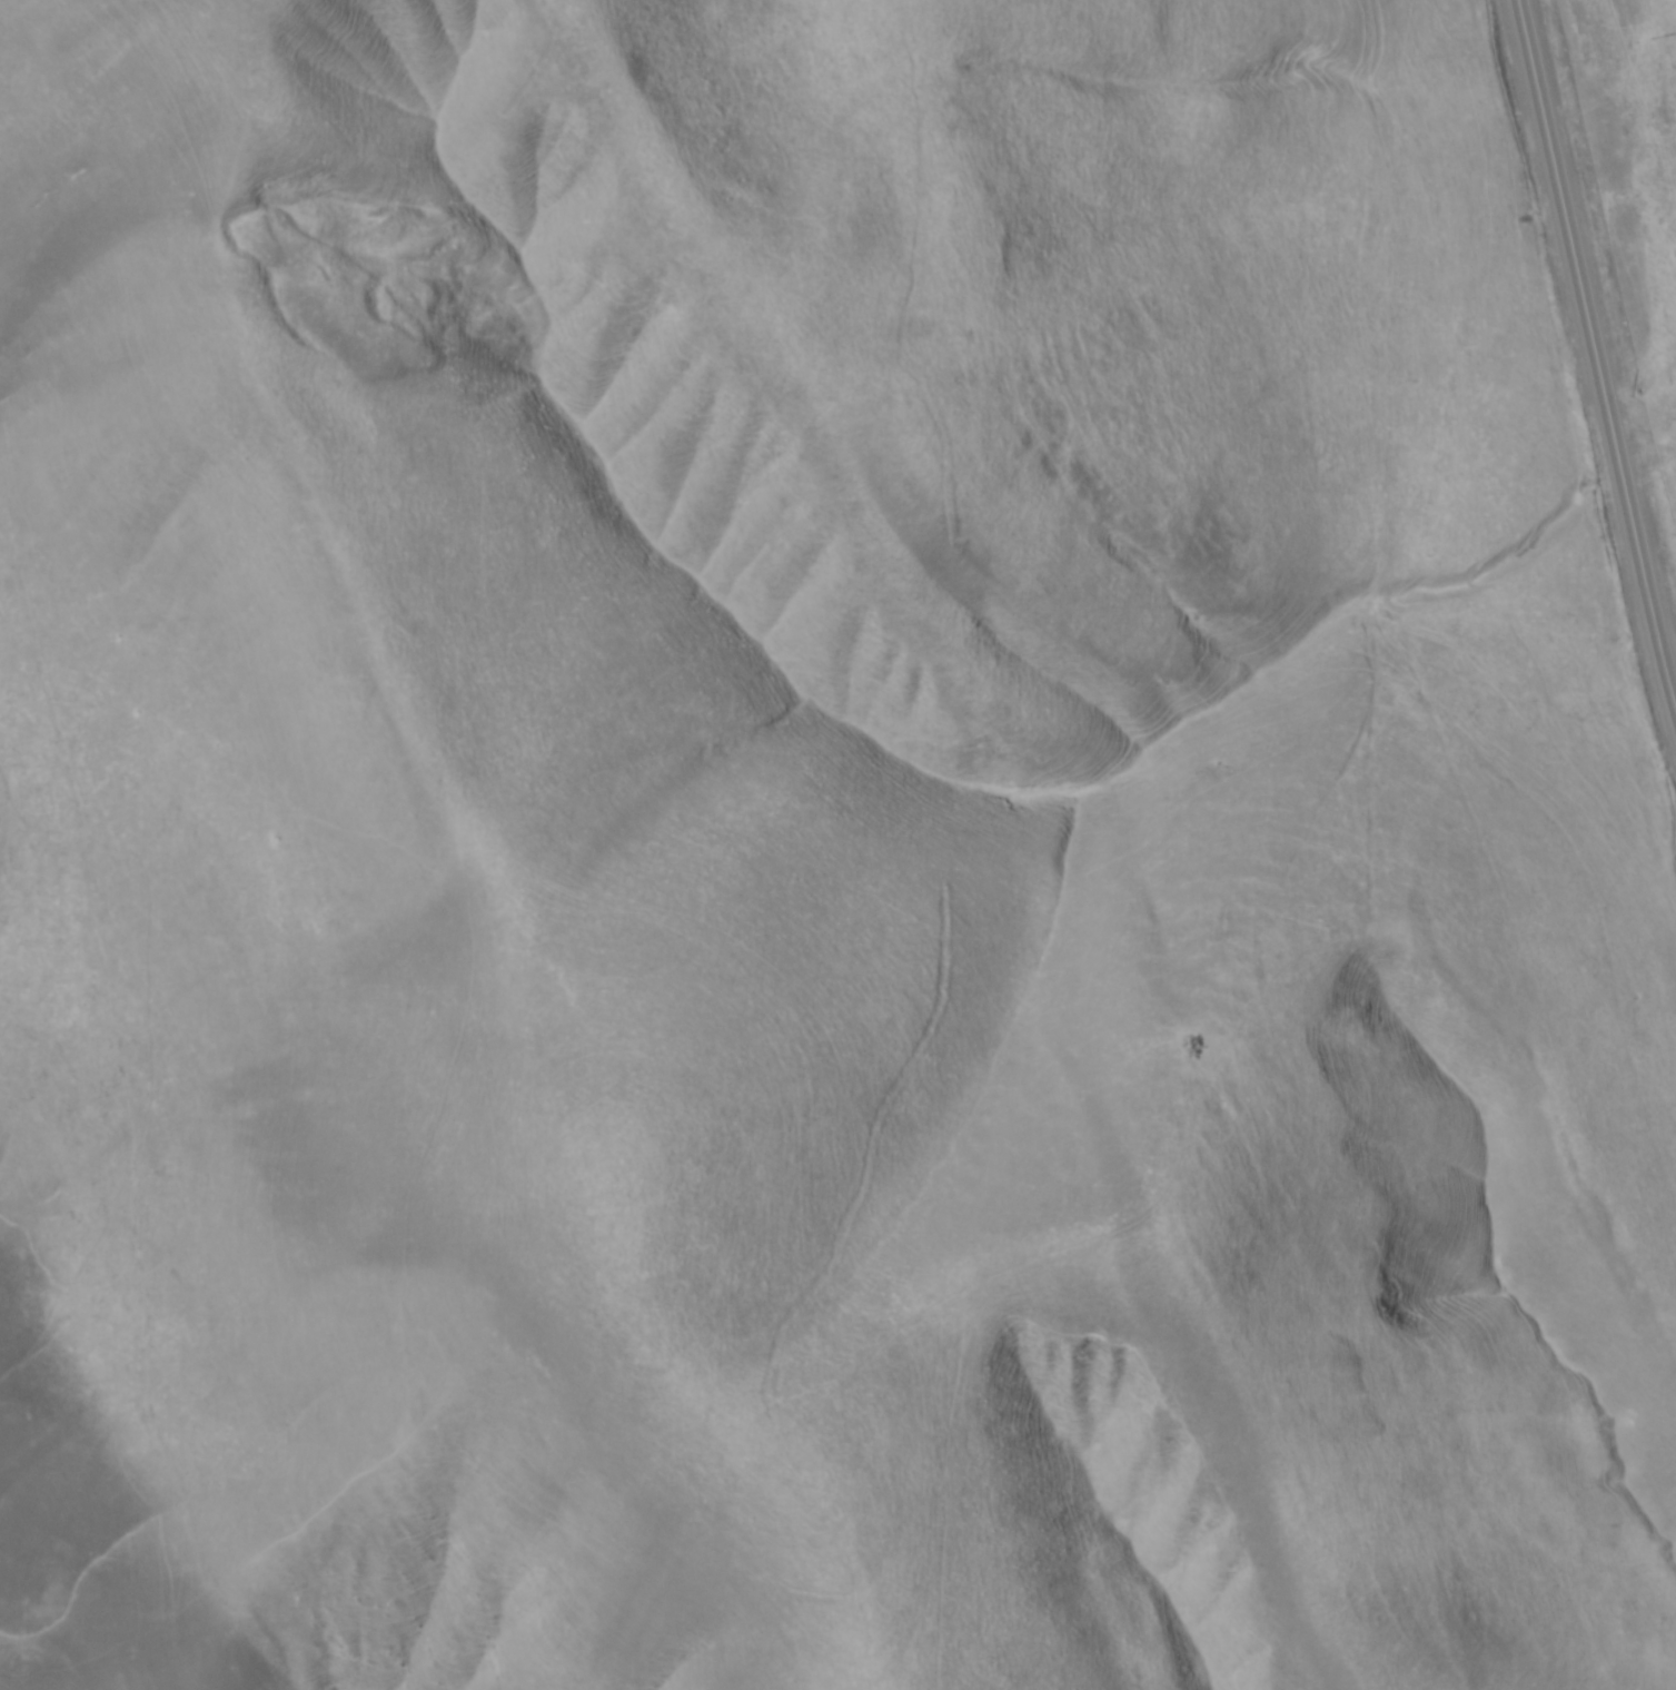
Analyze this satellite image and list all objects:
road: (1595, 353)

